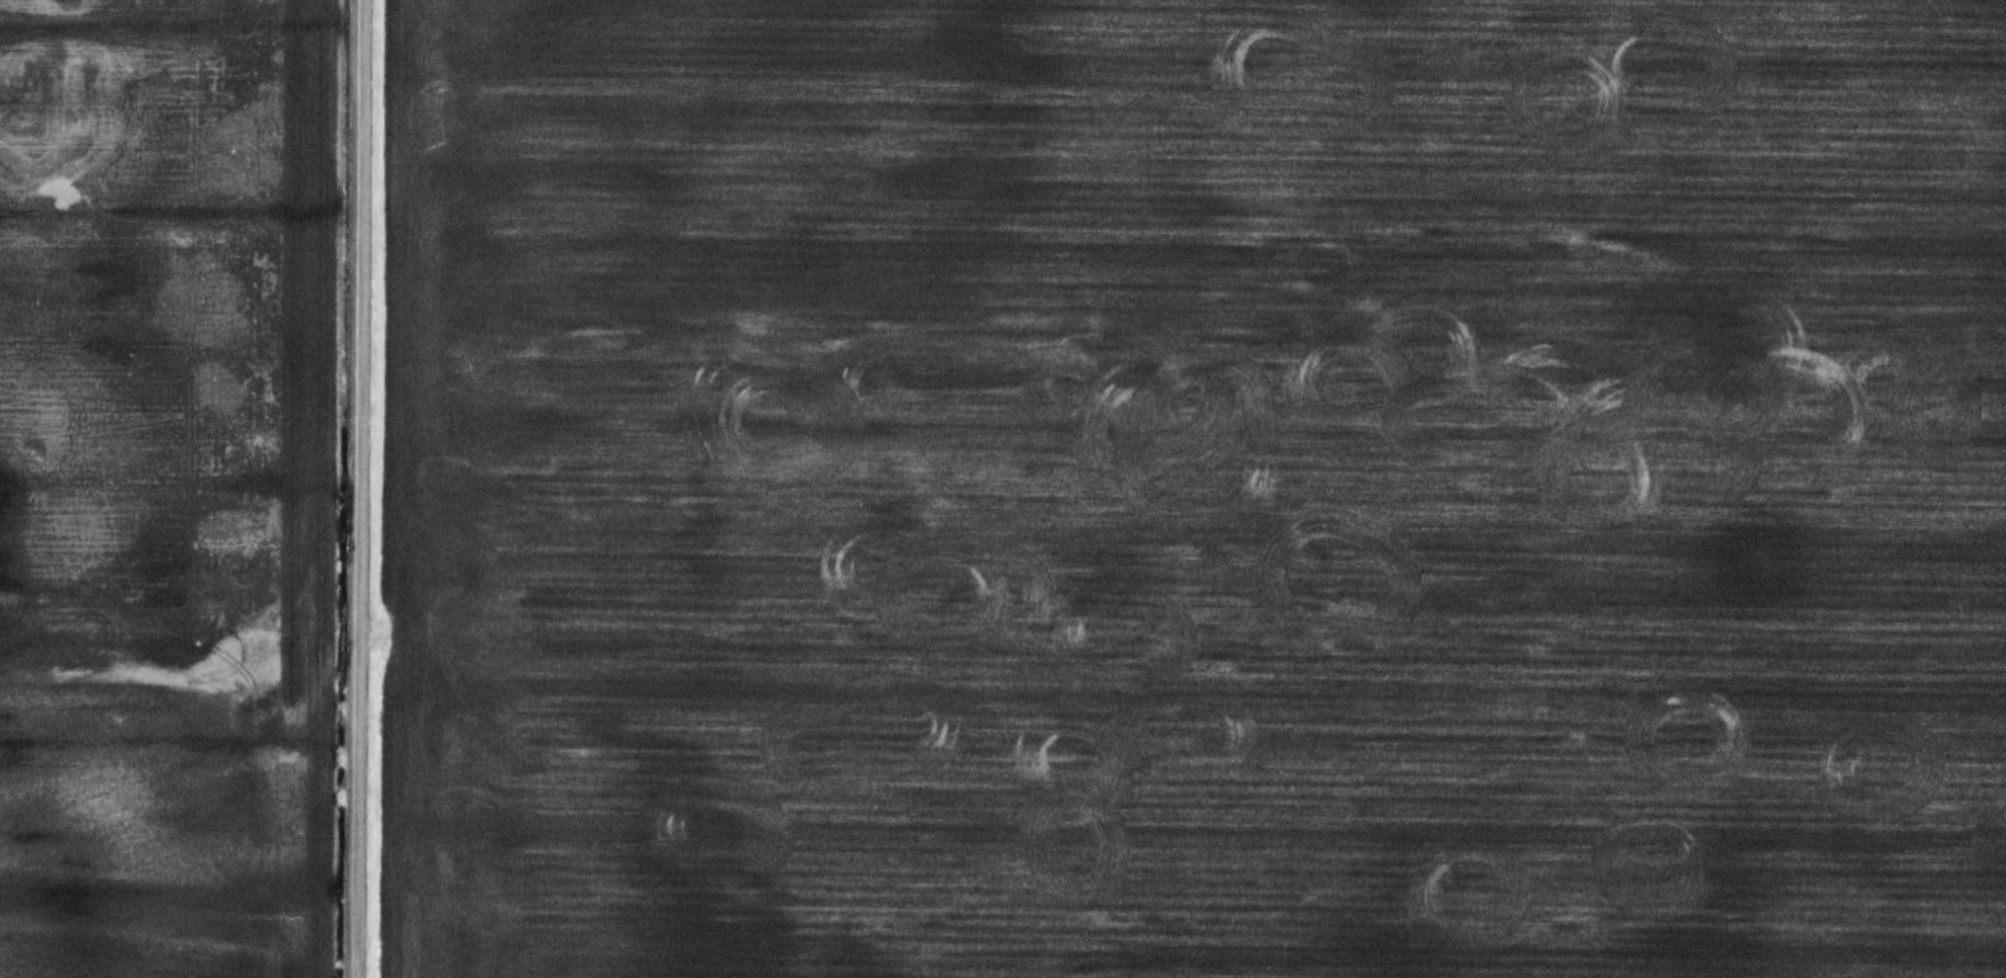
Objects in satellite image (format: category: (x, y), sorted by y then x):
road: (361, 489)

